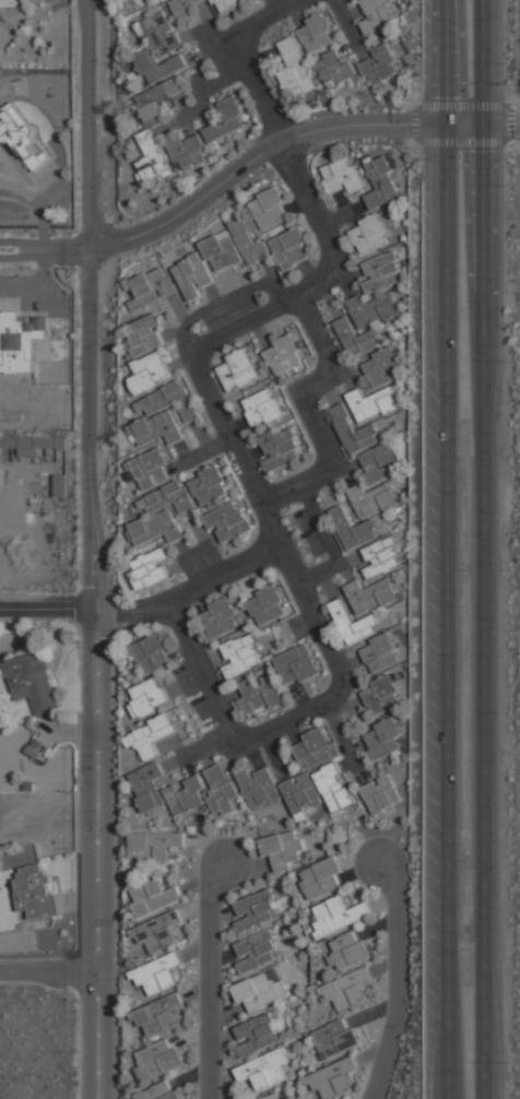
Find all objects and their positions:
building: (226, 3)
building: (182, 7)
building: (377, 15)
building: (162, 32)
building: (316, 32)
building: (379, 63)
building: (157, 64)
building: (333, 67)
building: (295, 69)
building: (157, 99)
building: (225, 120)
traffic signals: (447, 122)
traffic signals: (496, 122)
road: (508, 122)
road: (508, 123)
road: (88, 125)
building: (22, 137)
road: (277, 140)
building: (187, 151)
building: (152, 156)
building: (342, 174)
building: (381, 181)
building: (270, 206)
building: (369, 233)
building: (250, 240)
road: (45, 247)
building: (292, 247)
building: (221, 250)
building: (381, 271)
building: (192, 273)
building: (150, 286)
building: (374, 310)
building: (145, 334)
building: (357, 336)
building: (21, 341)
building: (283, 354)
building: (381, 367)
building: (238, 368)
building: (150, 370)
building: (371, 403)
building: (263, 406)
building: (162, 413)
building: (354, 429)
building: (32, 445)
building: (281, 447)
road: (239, 458)
building: (380, 461)
building: (150, 468)
building: (209, 484)
building: (59, 485)
building: (362, 512)
building: (162, 513)
building: (227, 521)
road: (496, 548)
road: (448, 549)
building: (381, 556)
building: (147, 568)
road: (223, 576)
building: (370, 594)
road: (47, 606)
building: (267, 606)
building: (220, 617)
building: (354, 623)
building: (380, 652)
building: (241, 653)
building: (152, 654)
building: (297, 663)
road: (95, 673)
building: (33, 681)
building: (259, 694)
building: (381, 694)
building: (147, 698)
building: (151, 735)
building: (382, 736)
building: (315, 747)
building: (35, 748)
building: (147, 784)
building: (259, 785)
building: (334, 787)
building: (221, 790)
building: (299, 793)
building: (381, 793)
building: (186, 795)
building: (153, 846)
building: (284, 848)
building: (321, 877)
building: (36, 890)
building: (154, 896)
building: (256, 909)
building: (338, 914)
building: (159, 931)
building: (257, 949)
building: (348, 949)
road: (49, 969)
road: (210, 971)
building: (157, 973)
road: (399, 974)
building: (259, 989)
building: (346, 989)
building: (157, 1015)
building: (256, 1035)
building: (336, 1038)
building: (158, 1057)
building: (263, 1070)
building: (331, 1078)
building: (159, 1091)
building: (269, 1096)

